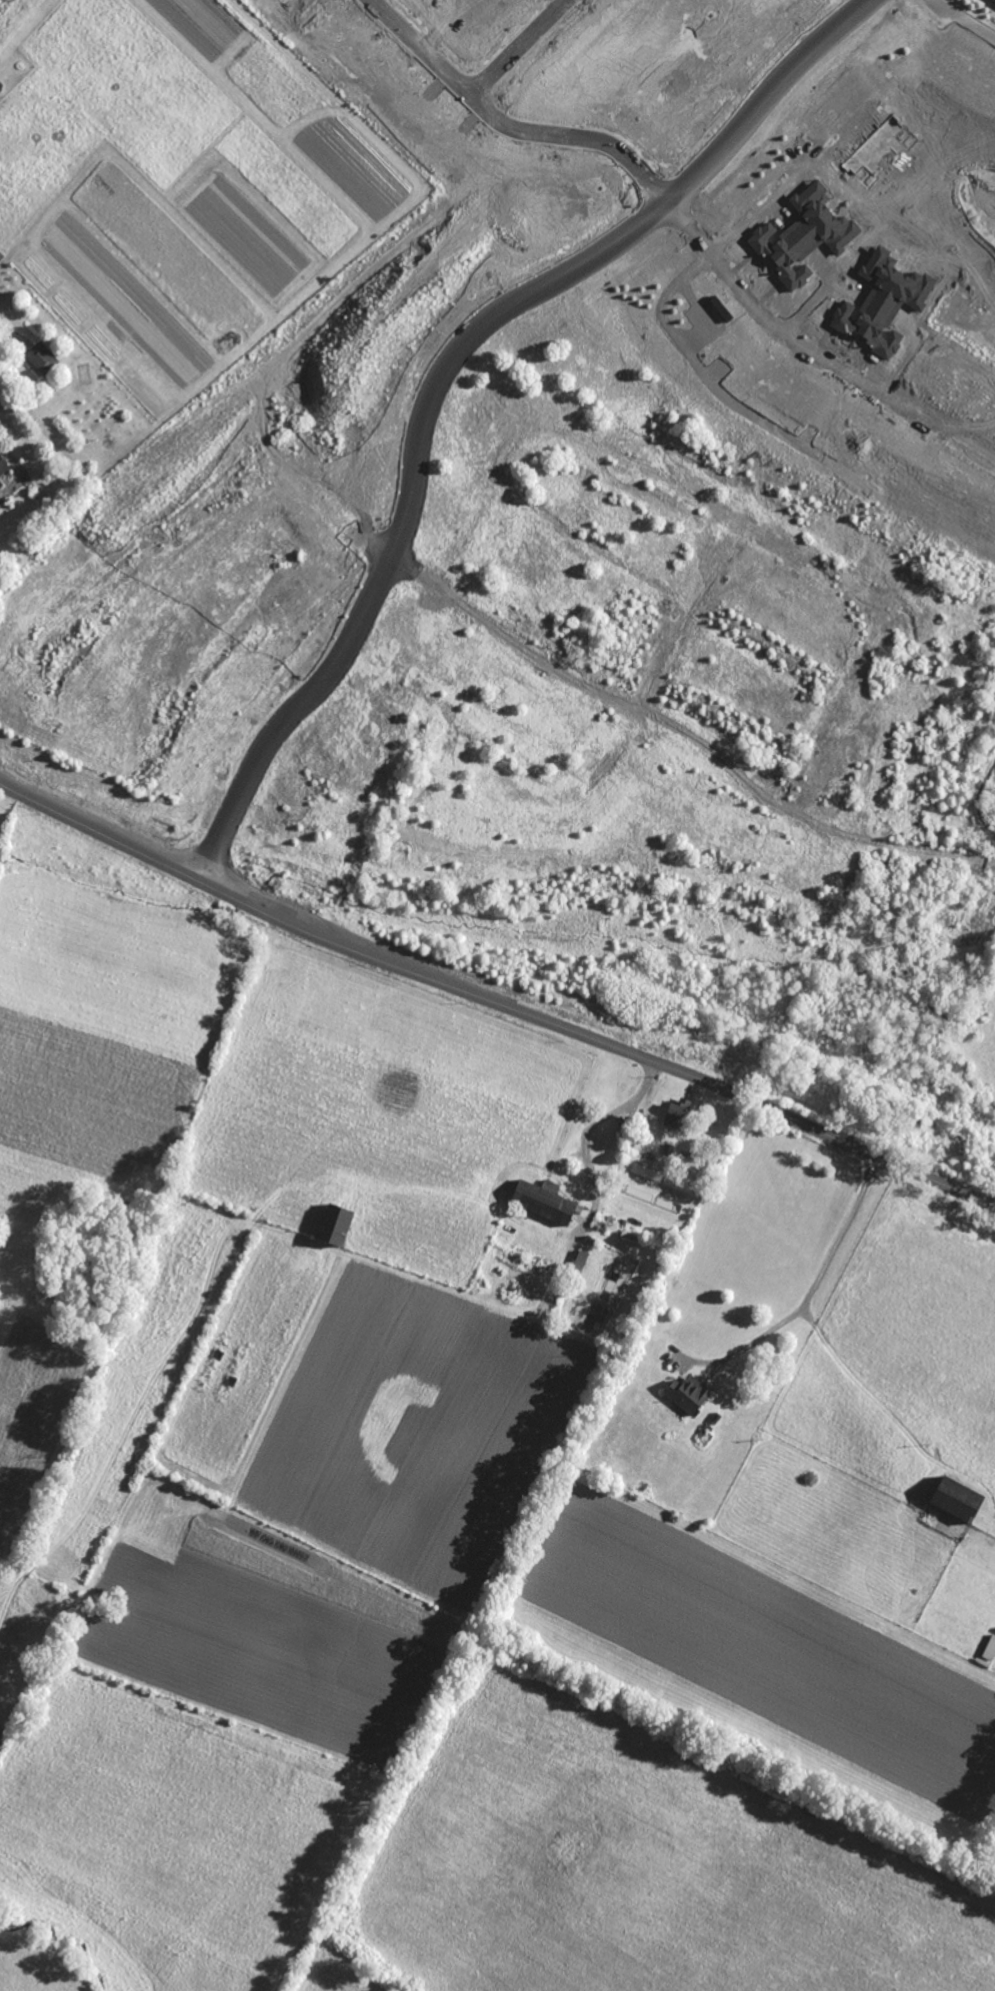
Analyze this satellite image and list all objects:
building: (993, 0)
road: (284, 5)
road: (960, 25)
road: (516, 52)
road: (498, 130)
building: (817, 223)
road: (691, 224)
road: (683, 231)
building: (39, 359)
road: (842, 369)
road: (440, 371)
road: (1, 389)
building: (3, 466)
road: (686, 730)
road: (495, 1003)
building: (677, 1113)
road: (590, 1130)
building: (544, 1200)
building: (336, 1224)
building: (580, 1261)
road: (807, 1297)
building: (688, 1393)
building: (957, 1499)

